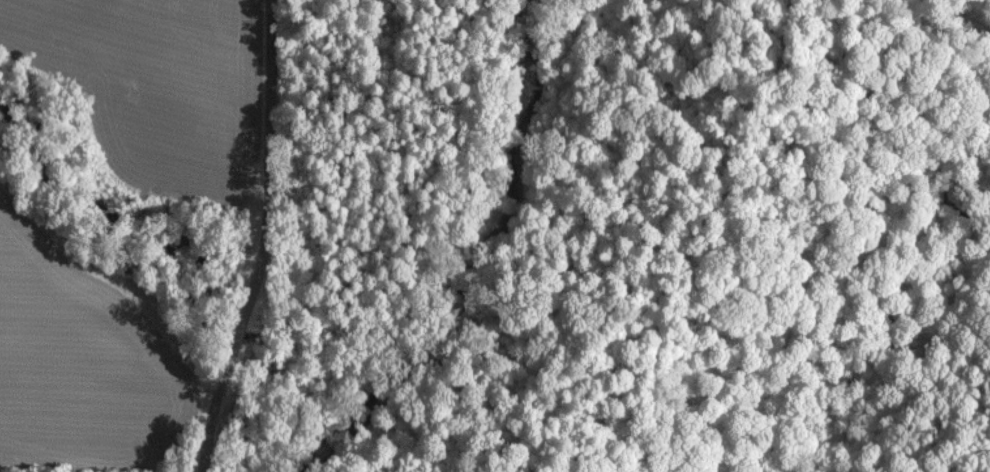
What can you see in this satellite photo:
road: (266, 241)

